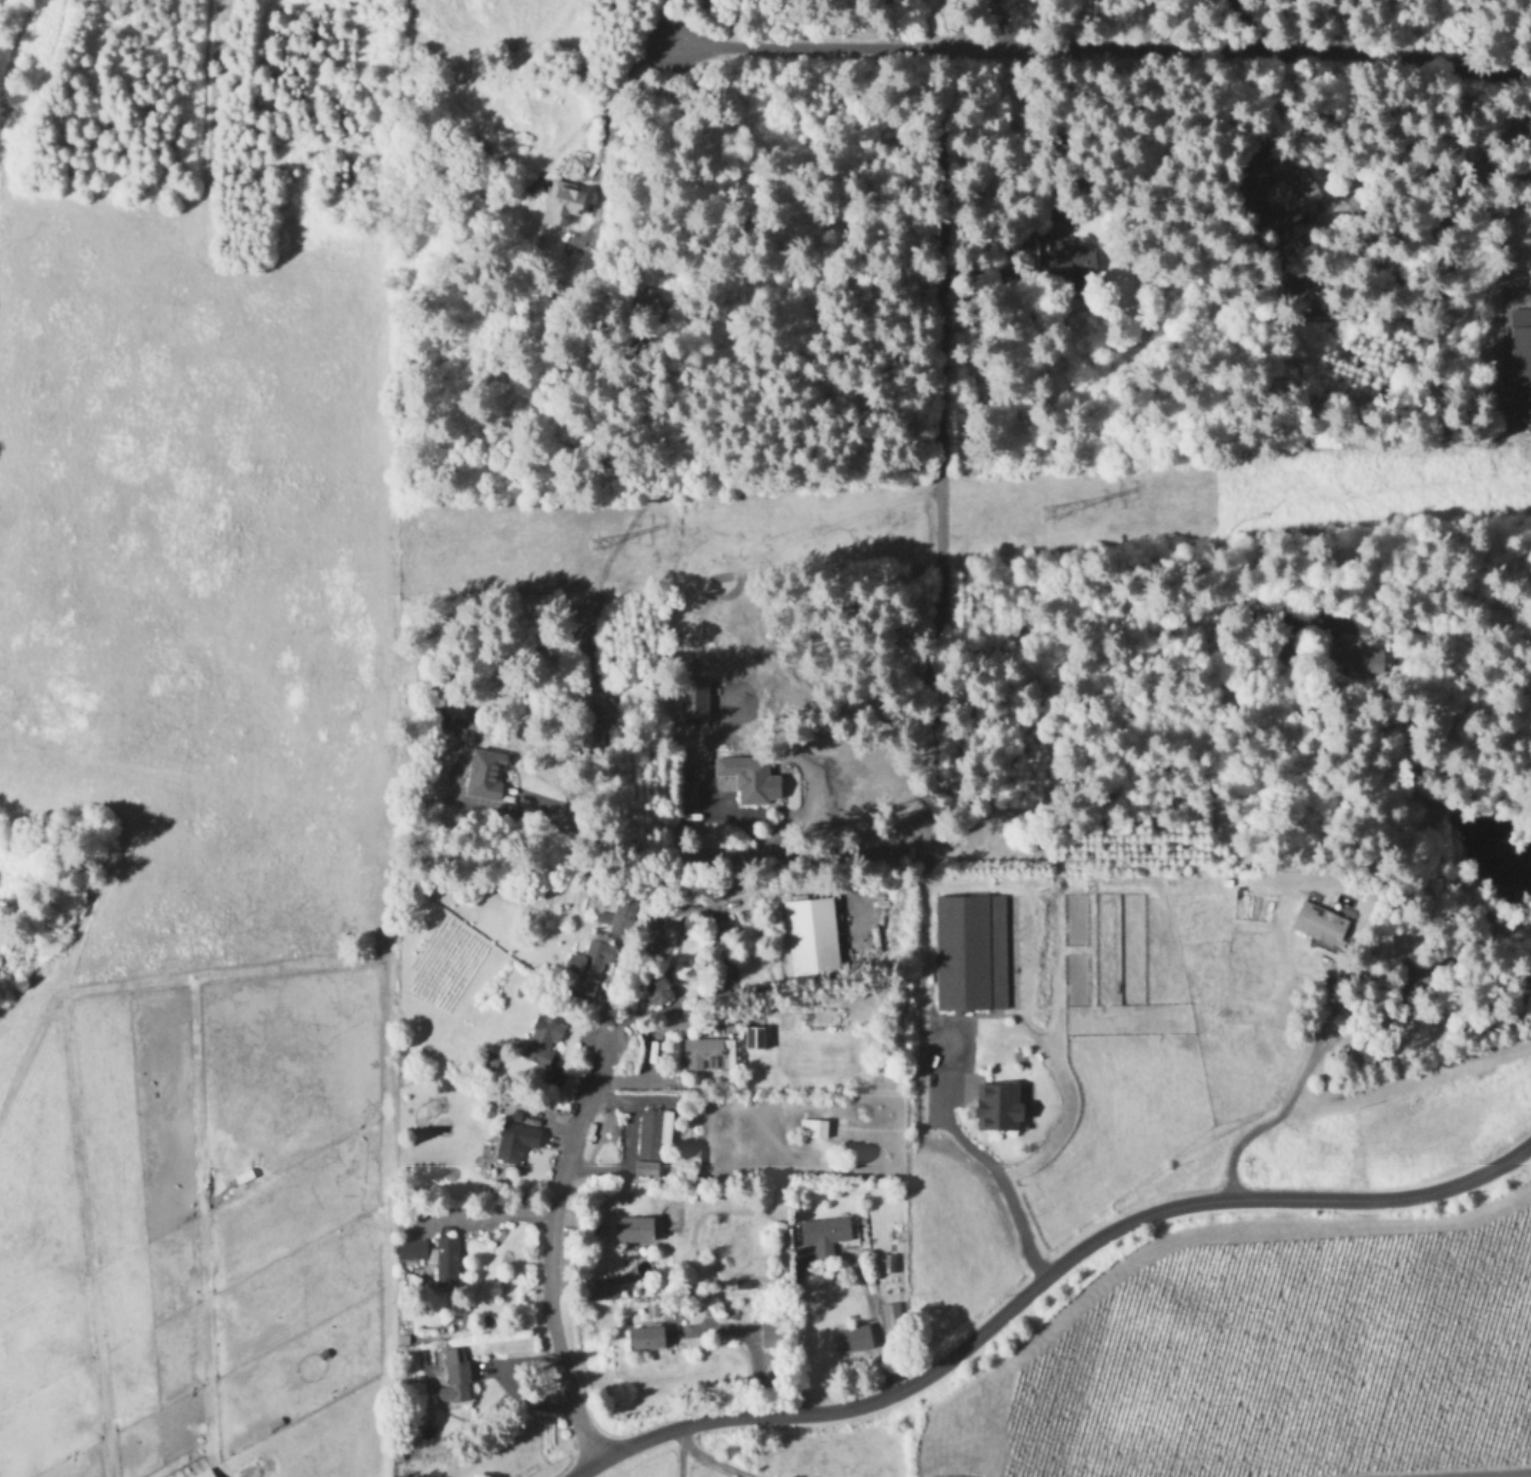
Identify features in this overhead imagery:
road: (996, 24)
road: (1246, 24)
road: (1100, 48)
road: (609, 98)
building: (1296, 194)
building: (560, 202)
building: (1521, 360)
power tower: (1051, 517)
road: (941, 528)
power tower: (598, 545)
road: (1448, 612)
building: (692, 696)
building: (483, 772)
building: (749, 777)
building: (618, 914)
building: (1318, 921)
building: (812, 934)
building: (662, 945)
building: (970, 951)
building: (588, 962)
building: (656, 989)
building: (755, 1036)
building: (540, 1040)
building: (710, 1052)
road: (1288, 1091)
building: (996, 1105)
building: (813, 1126)
building: (654, 1130)
building: (514, 1137)
building: (645, 1167)
road: (1004, 1188)
road: (488, 1217)
building: (632, 1227)
building: (826, 1232)
building: (410, 1247)
road: (548, 1257)
building: (891, 1261)
building: (445, 1262)
road: (1040, 1278)
building: (892, 1312)
road: (875, 1317)
road: (796, 1331)
building: (644, 1336)
building: (856, 1337)
building: (453, 1376)
road: (680, 1451)
road: (716, 1460)
building: (204, 1474)
road: (1510, 1475)

